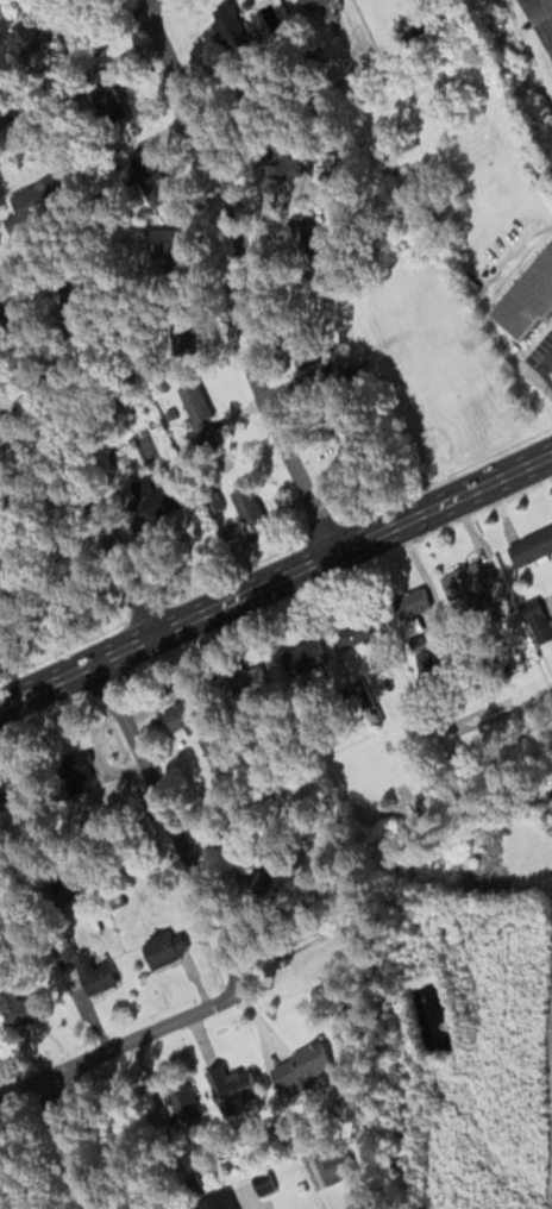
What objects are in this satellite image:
road: (551, 0)
building: (313, 4)
building: (228, 25)
road: (76, 62)
building: (281, 162)
building: (36, 203)
building: (165, 243)
road: (237, 283)
building: (74, 293)
building: (527, 296)
building: (181, 333)
building: (199, 408)
road: (23, 420)
building: (208, 440)
road: (550, 457)
road: (75, 474)
building: (162, 497)
building: (246, 507)
building: (538, 541)
road: (276, 582)
building: (465, 583)
building: (410, 625)
building: (353, 634)
building: (425, 663)
building: (308, 666)
building: (183, 715)
building: (212, 746)
building: (362, 757)
building: (82, 773)
building: (409, 806)
road: (172, 831)
building: (93, 976)
building: (27, 1008)
road: (193, 1017)
building: (300, 1069)
building: (233, 1086)
building: (180, 1103)
road: (67, 1145)
building: (335, 1170)
building: (220, 1201)
road: (258, 1208)

